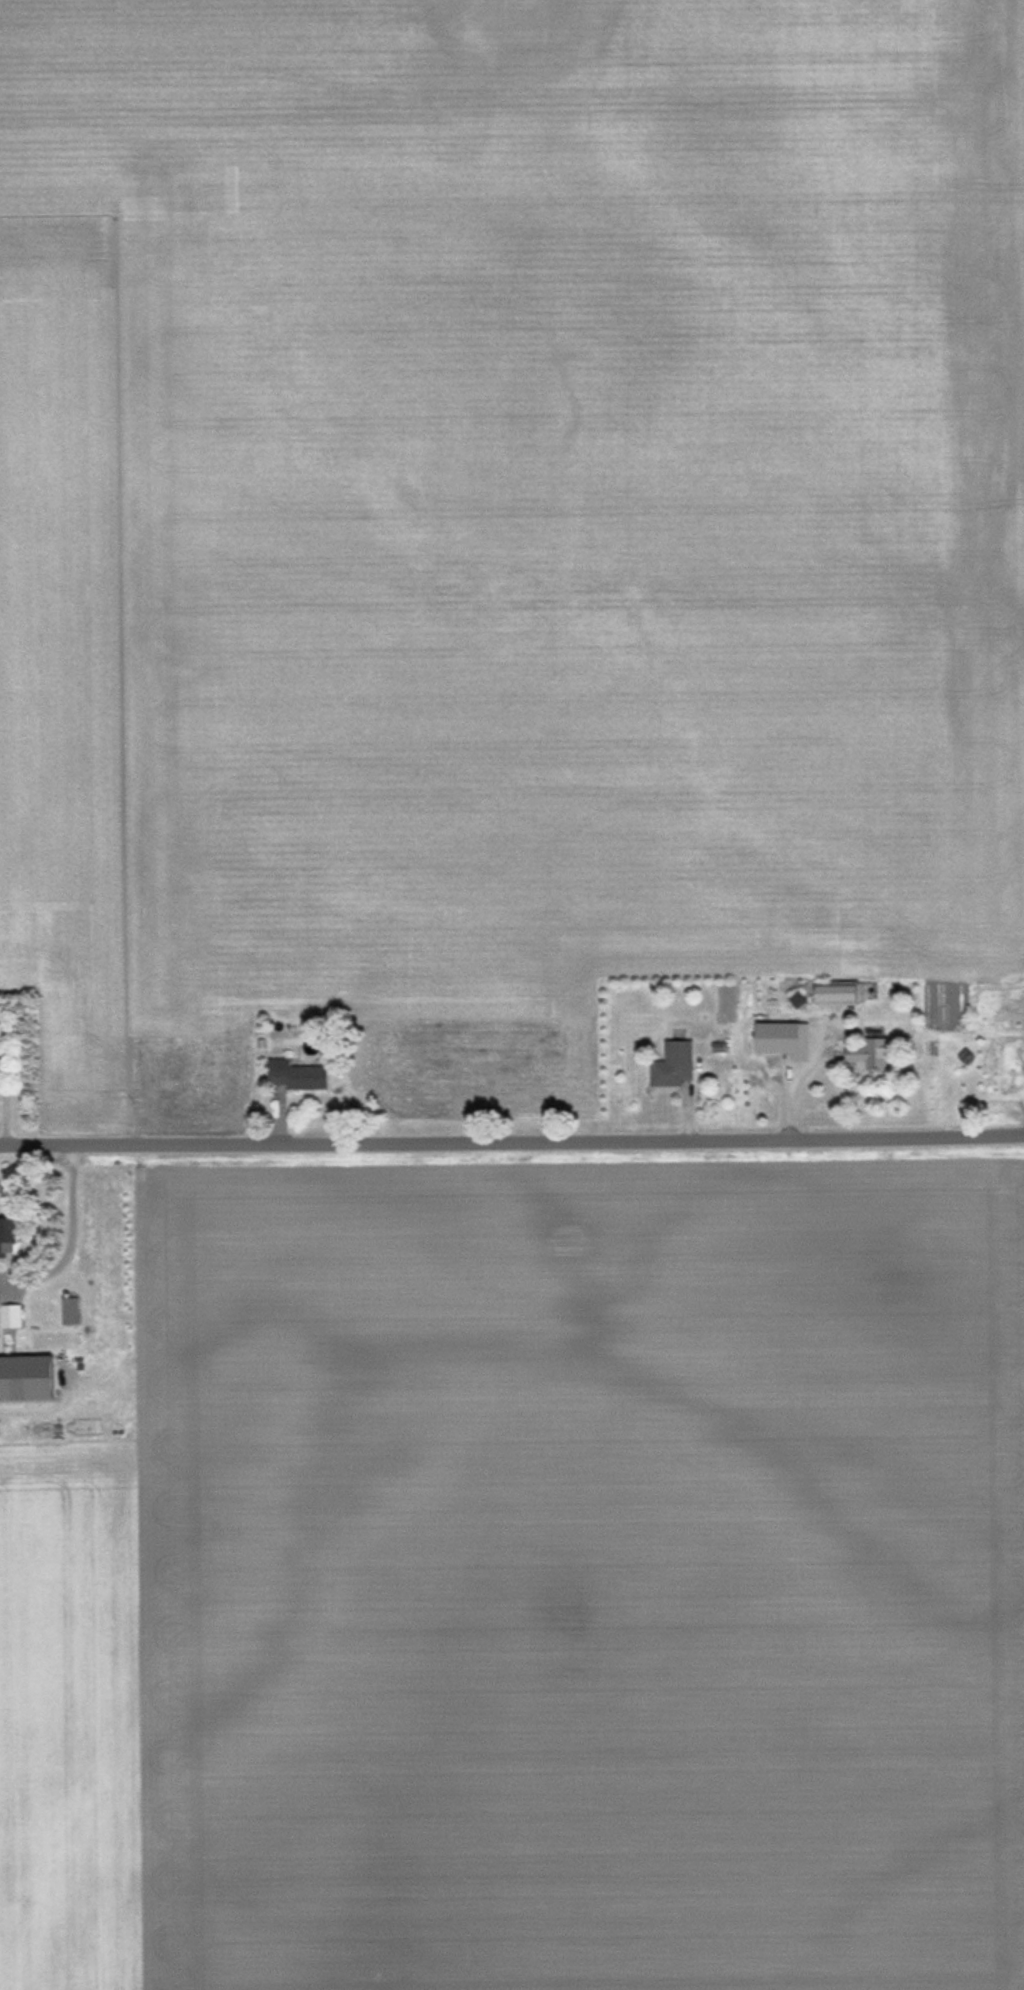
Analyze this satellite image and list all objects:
building: (0, 1038)
building: (771, 1038)
building: (868, 1051)
building: (673, 1064)
building: (297, 1074)
road: (512, 1140)
building: (6, 1235)
building: (11, 1314)

